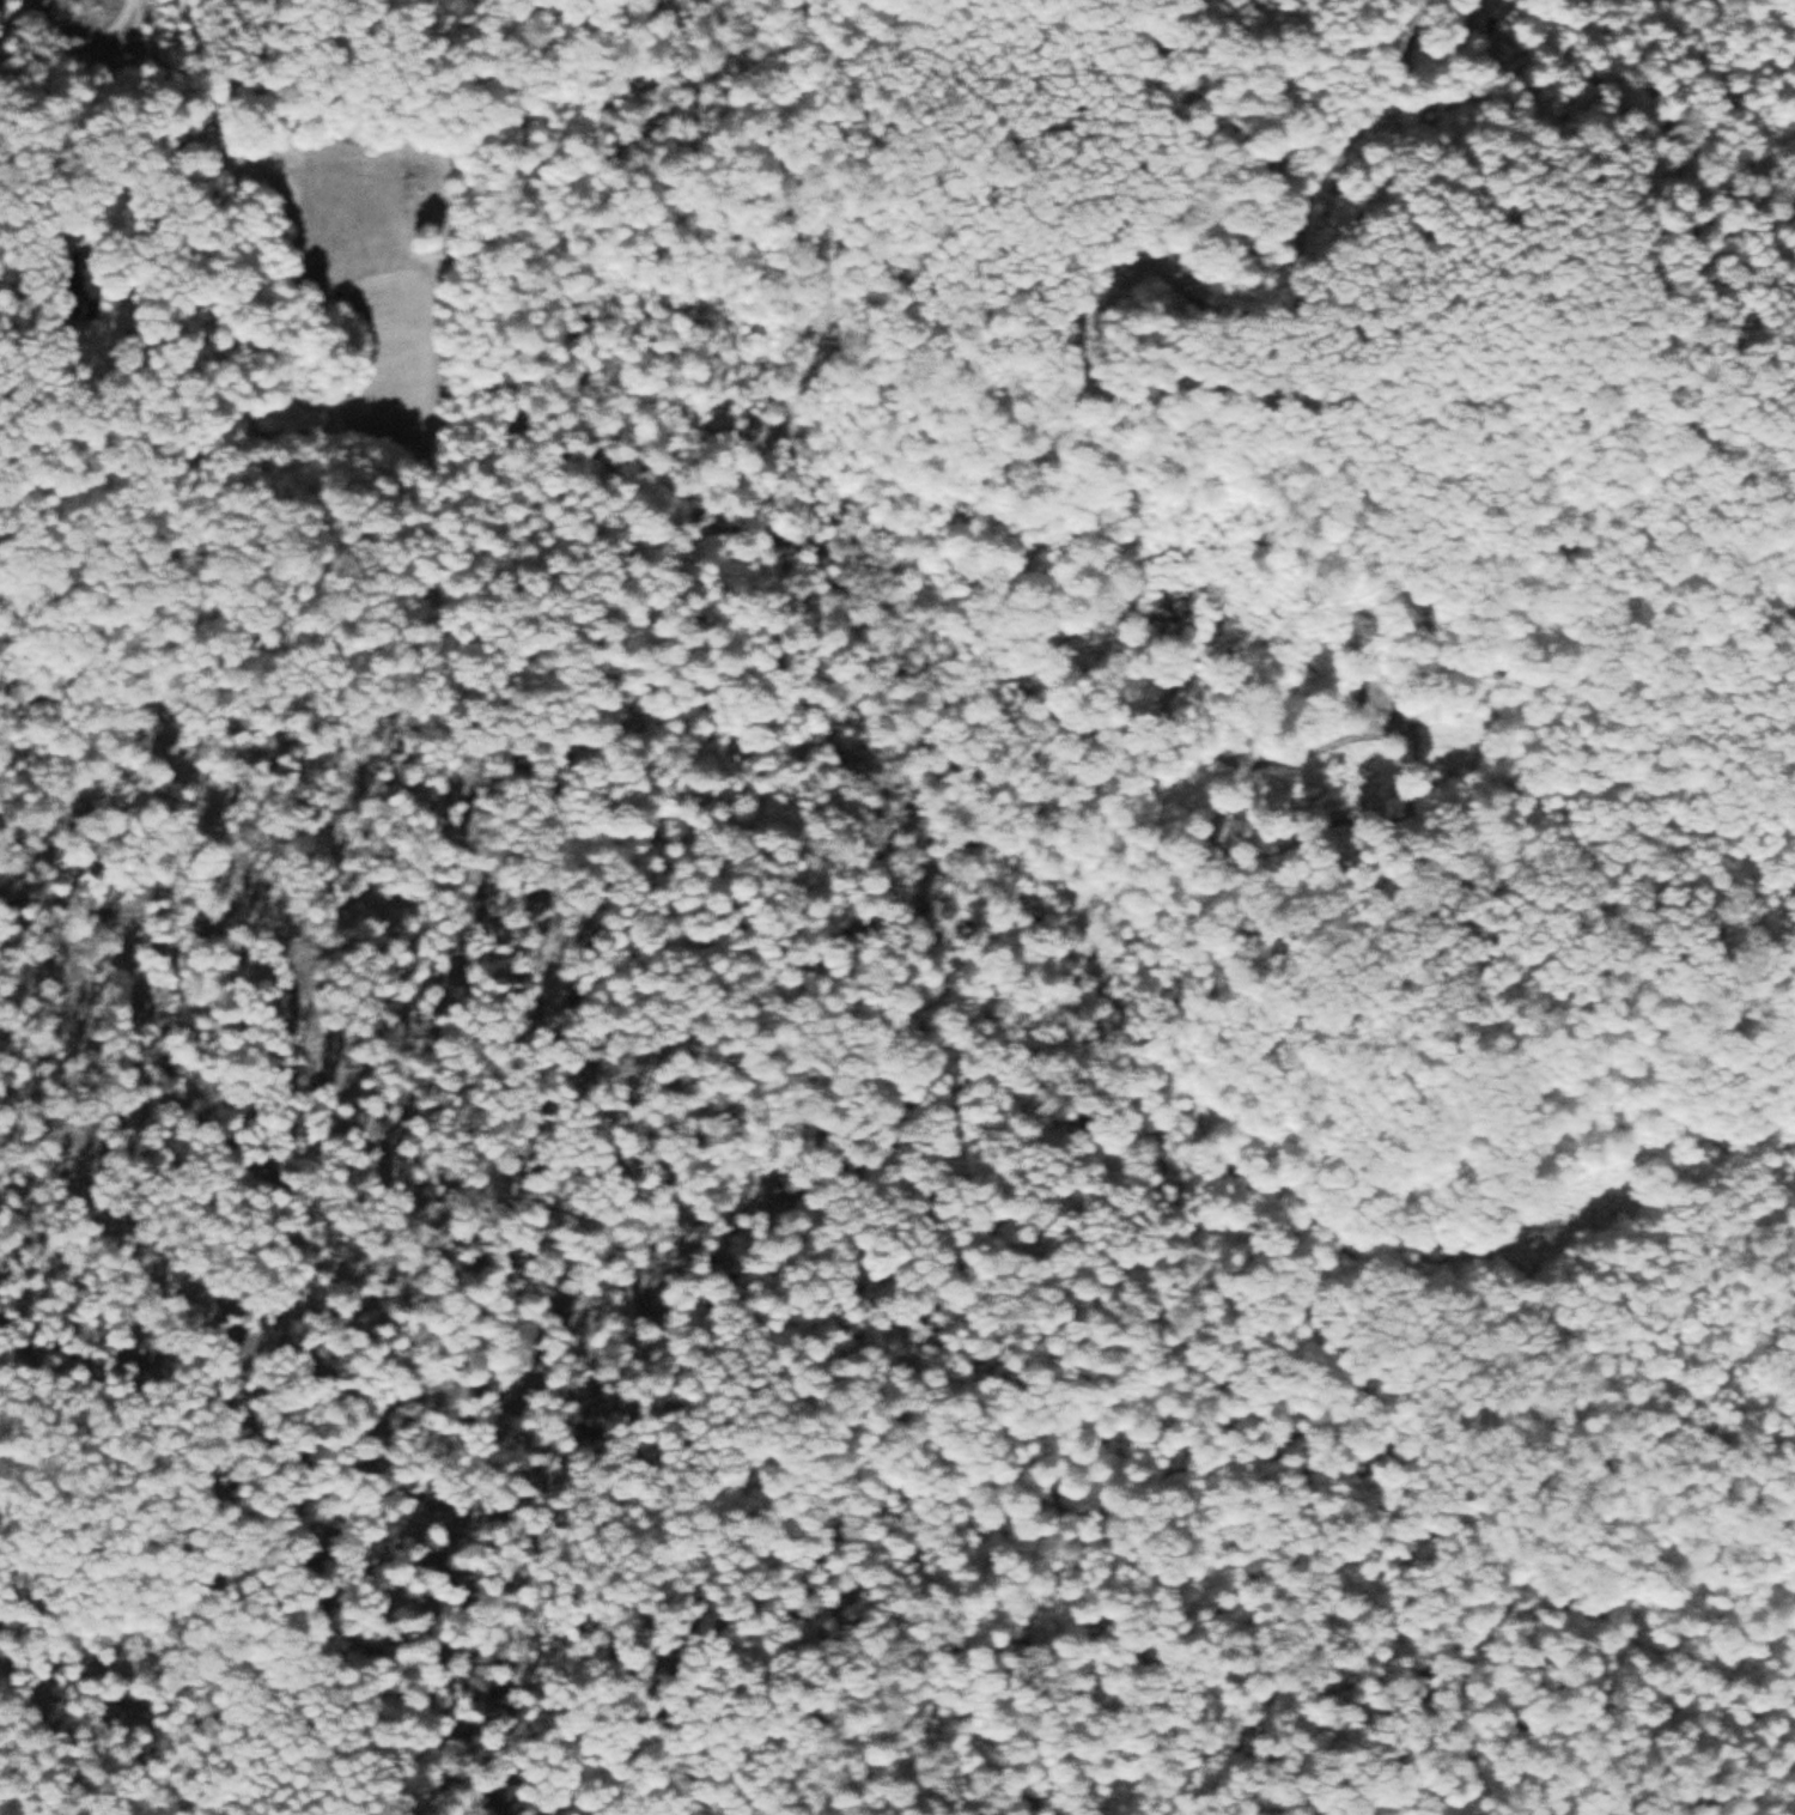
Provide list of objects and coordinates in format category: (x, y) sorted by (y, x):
building: (77, 286)

